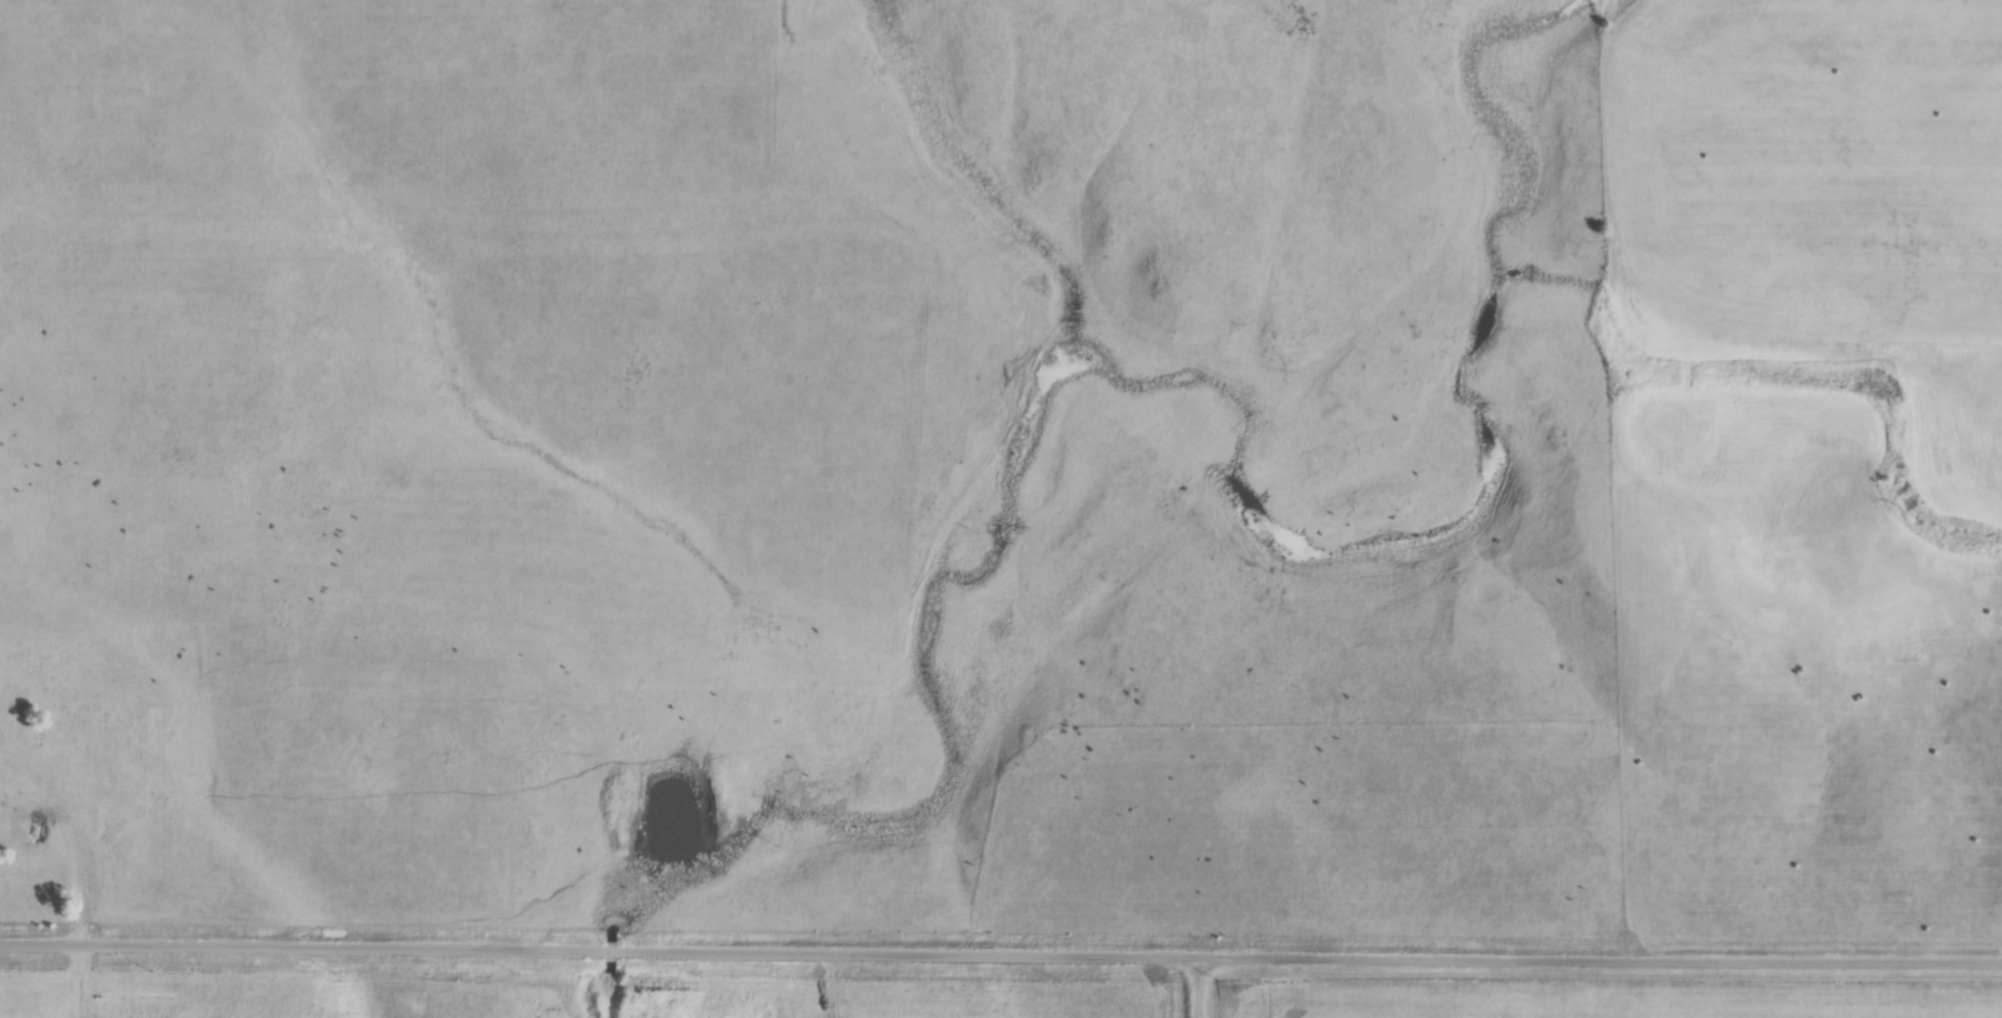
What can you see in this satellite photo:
road: (82, 843)
road: (1000, 942)

